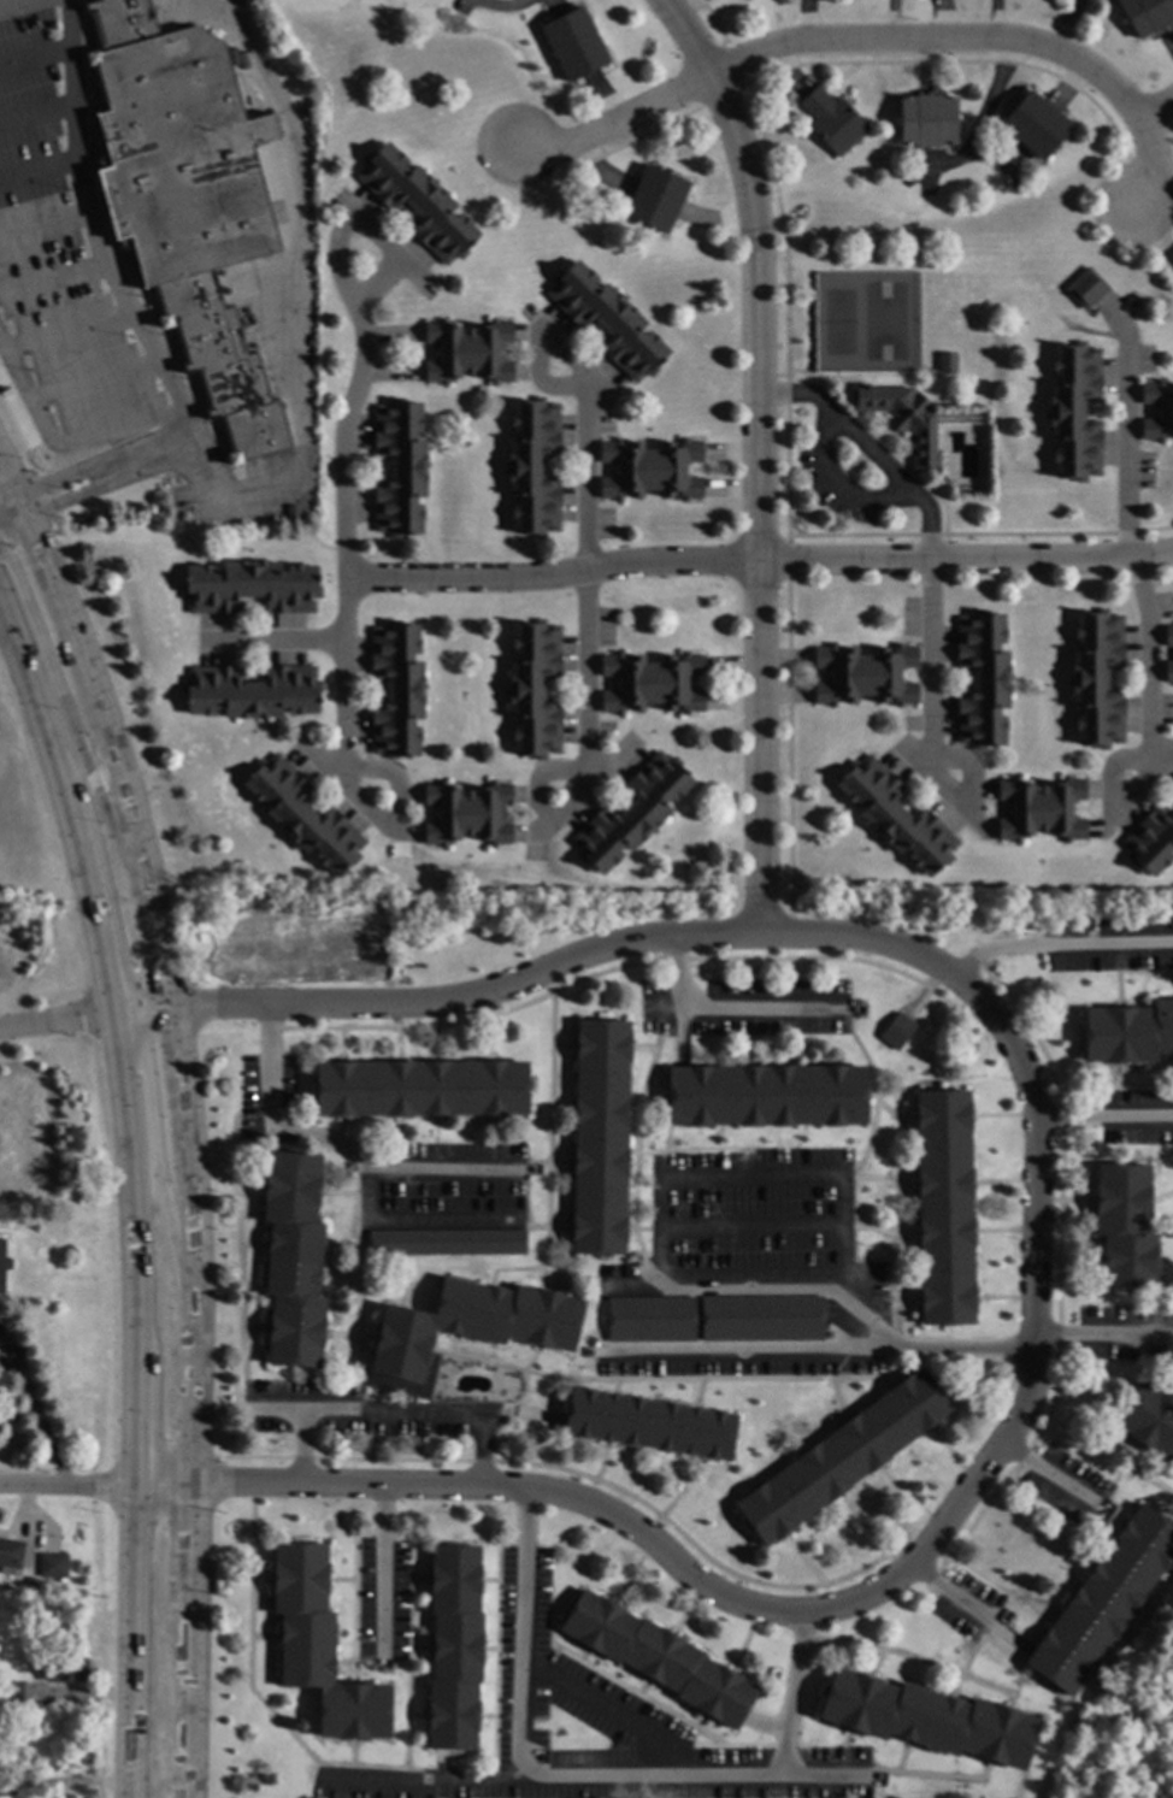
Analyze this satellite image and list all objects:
road: (495, 5)
building: (1147, 14)
road: (892, 19)
road: (713, 23)
road: (1066, 26)
road: (951, 37)
building: (573, 43)
road: (978, 64)
road: (730, 67)
road: (720, 99)
road: (982, 118)
building: (926, 119)
building: (832, 120)
building: (1033, 124)
road: (613, 128)
road: (1169, 128)
road: (629, 143)
road: (1143, 160)
building: (187, 198)
building: (655, 198)
building: (417, 202)
road: (383, 236)
road: (1154, 241)
parking lot: (59, 260)
road: (377, 279)
building: (1085, 288)
road: (786, 307)
road: (295, 313)
road: (132, 319)
building: (607, 320)
road: (390, 335)
building: (467, 352)
building: (947, 361)
road: (387, 376)
building: (1074, 411)
building: (1165, 411)
building: (903, 419)
road: (63, 441)
road: (873, 446)
road: (1126, 453)
road: (758, 456)
building: (534, 467)
building: (399, 468)
building: (650, 468)
road: (838, 488)
road: (341, 490)
road: (5, 495)
road: (588, 495)
road: (5, 505)
traffic signals: (11, 506)
road: (5, 507)
building: (291, 512)
road: (980, 533)
building: (1107, 541)
building: (953, 542)
building: (624, 546)
road: (758, 556)
road: (788, 556)
building: (664, 577)
building: (249, 586)
building: (423, 594)
building: (1168, 635)
road: (278, 642)
building: (1168, 671)
building: (863, 674)
building: (982, 679)
building: (1097, 679)
building: (650, 683)
building: (396, 689)
building: (534, 689)
building: (250, 691)
road: (69, 718)
road: (1153, 745)
road: (789, 748)
road: (930, 749)
road: (104, 750)
building: (1172, 790)
building: (1041, 808)
road: (65, 812)
building: (631, 812)
building: (466, 813)
building: (303, 815)
building: (896, 815)
road: (544, 823)
road: (393, 835)
building: (1150, 841)
road: (1057, 945)
road: (52, 994)
road: (135, 1007)
road: (721, 1012)
road: (53, 1020)
building: (894, 1031)
building: (1128, 1032)
building: (420, 1089)
building: (766, 1095)
road: (1100, 1120)
building: (600, 1137)
road: (334, 1144)
road: (157, 1149)
building: (943, 1207)
road: (661, 1221)
road: (415, 1224)
building: (1125, 1224)
road: (753, 1226)
building: (447, 1242)
building: (293, 1258)
building: (2, 1263)
road: (1031, 1285)
building: (650, 1319)
building: (760, 1319)
building: (465, 1330)
road: (1102, 1333)
road: (818, 1344)
road: (187, 1401)
road: (129, 1403)
road: (389, 1411)
road: (37, 1413)
building: (1148, 1420)
building: (649, 1423)
building: (842, 1456)
road: (1049, 1476)
road: (65, 1490)
building: (13, 1555)
building: (52, 1564)
road: (382, 1566)
building: (1102, 1599)
road: (965, 1605)
building: (318, 1646)
building: (453, 1647)
building: (658, 1657)
building: (63, 1668)
building: (16, 1691)
road: (605, 1711)
building: (927, 1719)
park: (1127, 1729)
road: (424, 1779)
road: (593, 1780)
road: (824, 1780)

